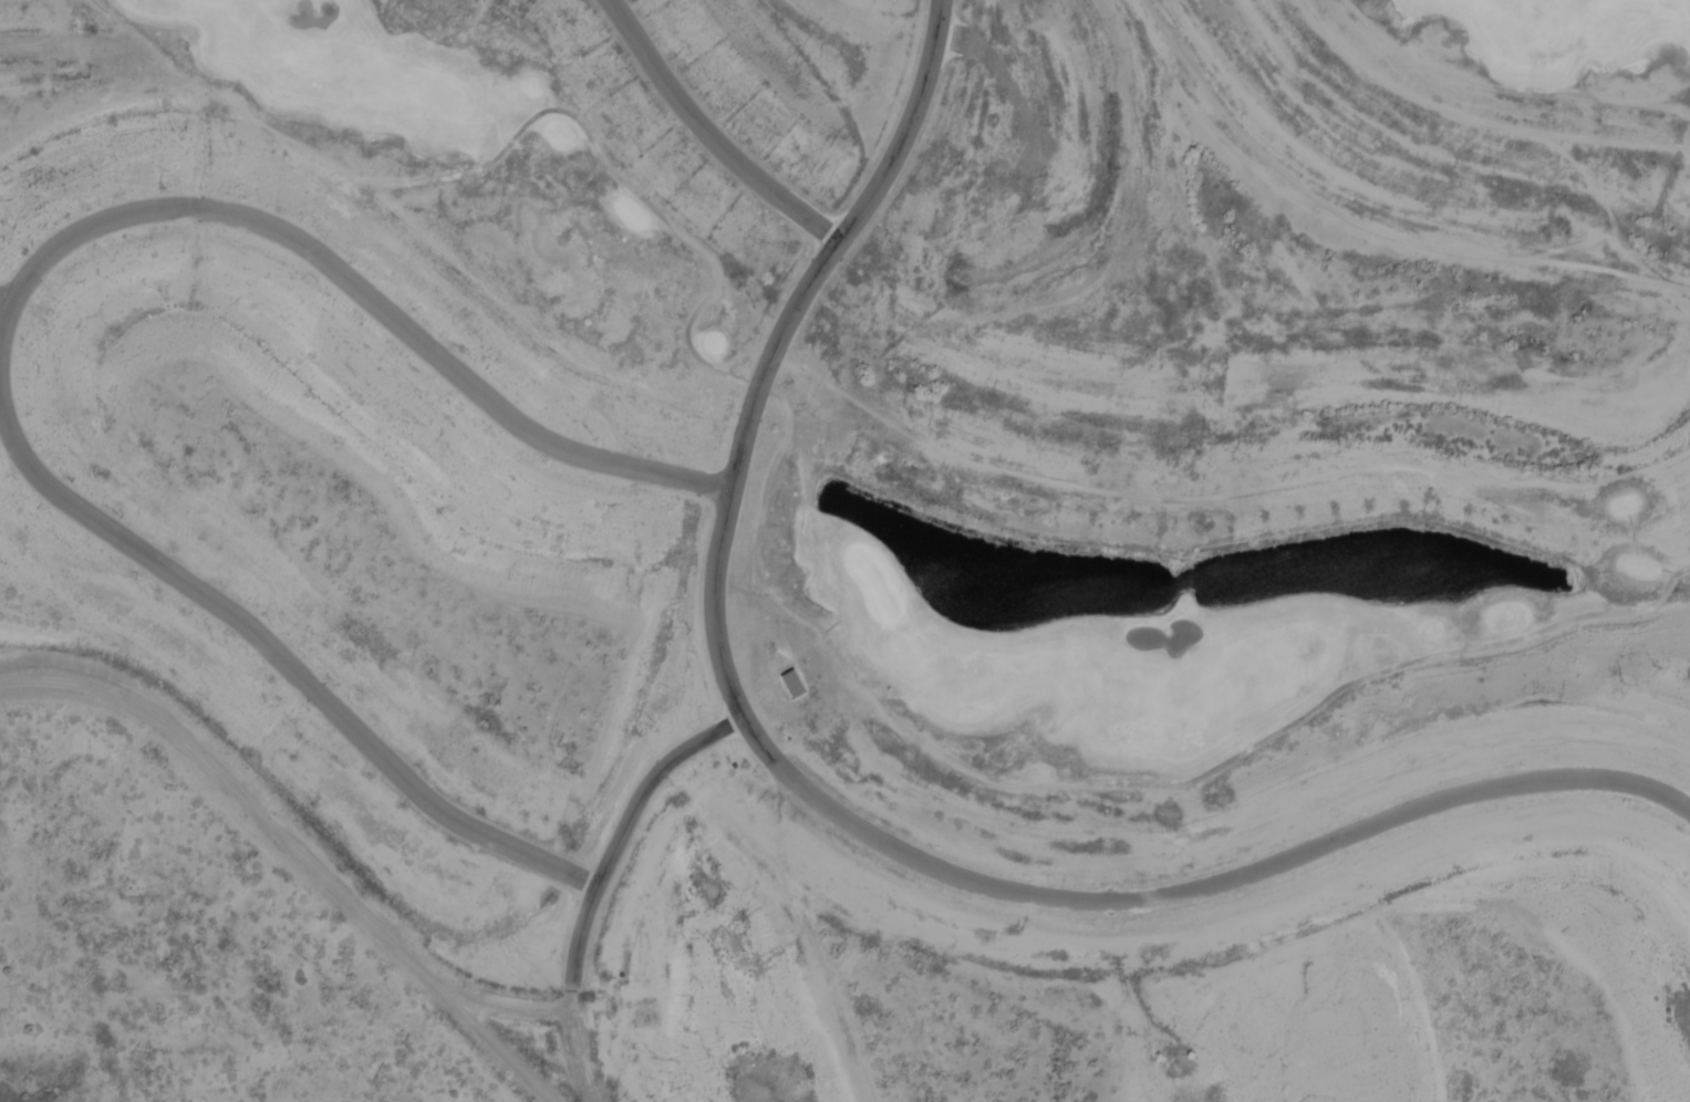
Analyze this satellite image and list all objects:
park: (1556, 64)
road: (1000, 76)
road: (1505, 87)
road: (709, 136)
road: (356, 287)
road: (6, 303)
road: (777, 345)
park: (951, 474)
road: (761, 533)
road: (283, 658)
building: (796, 686)
road: (626, 828)
road: (1200, 891)
road: (578, 1043)

